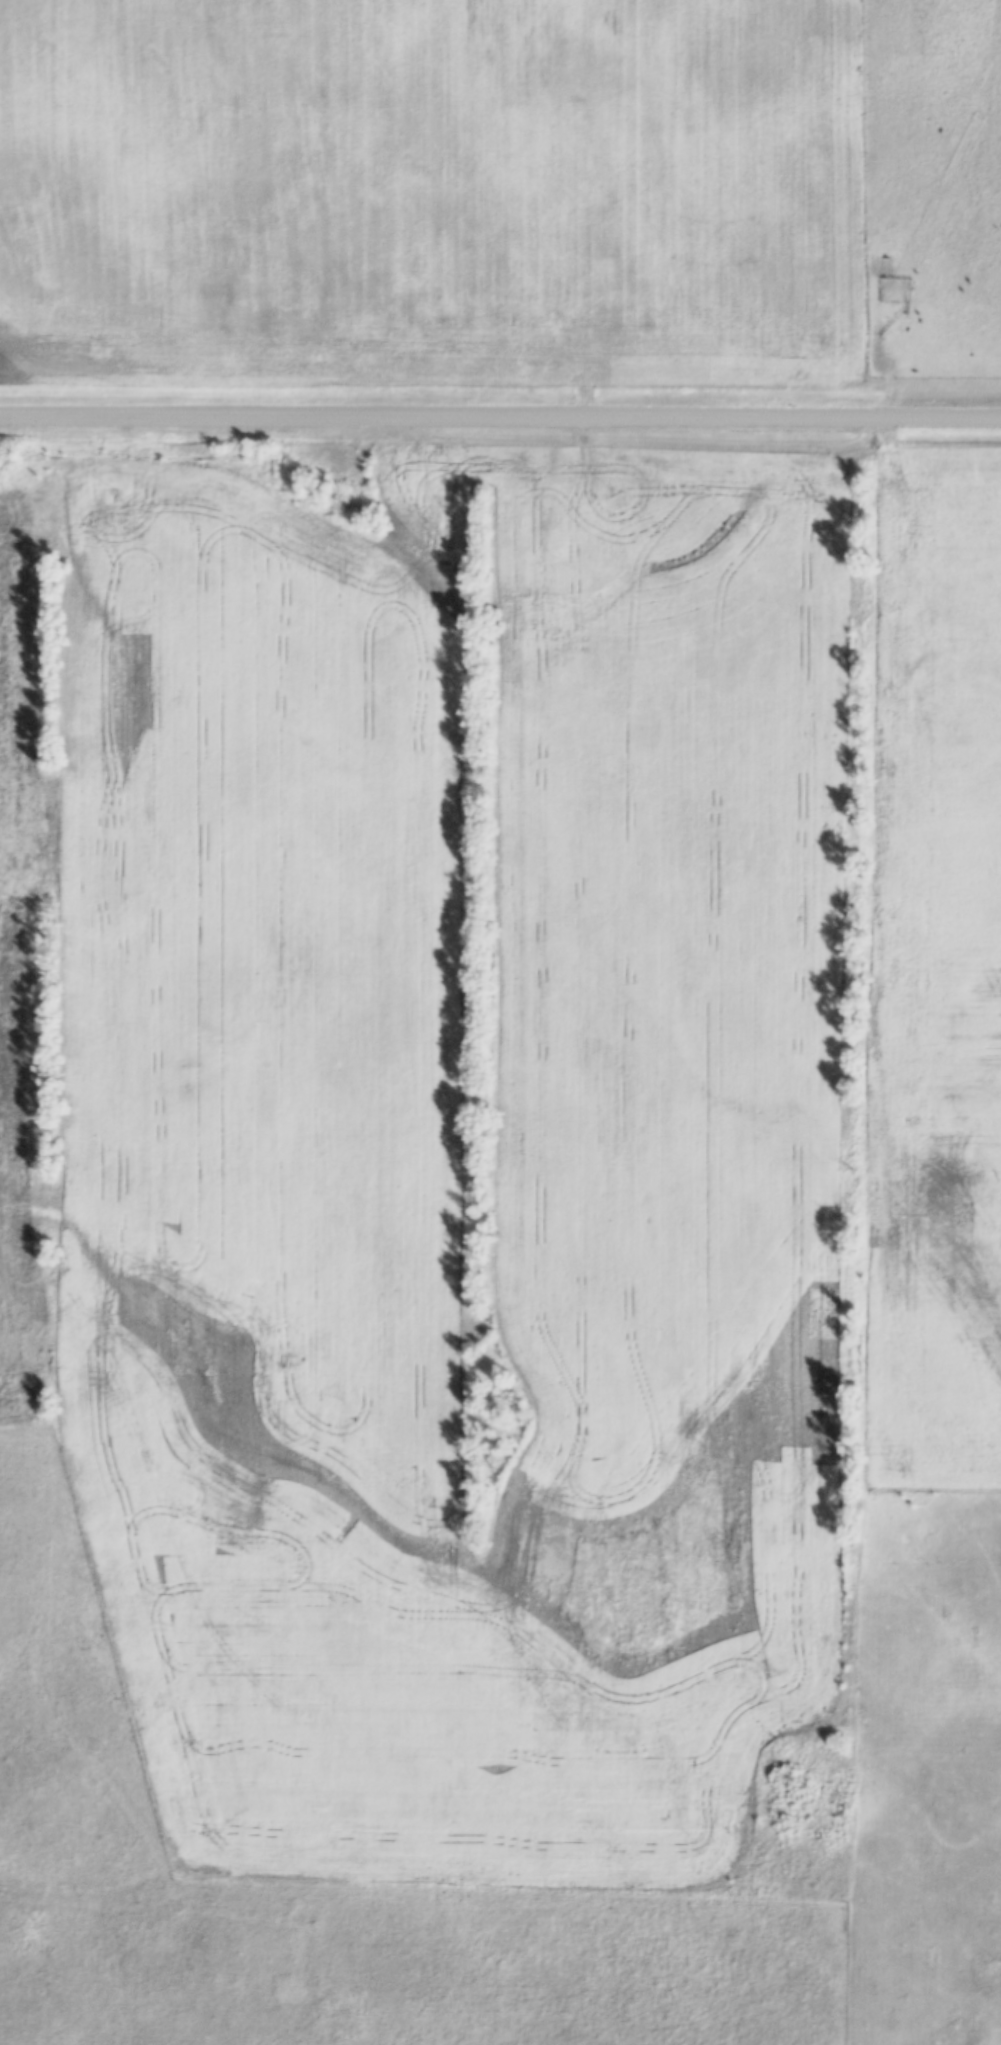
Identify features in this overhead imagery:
road: (500, 420)

